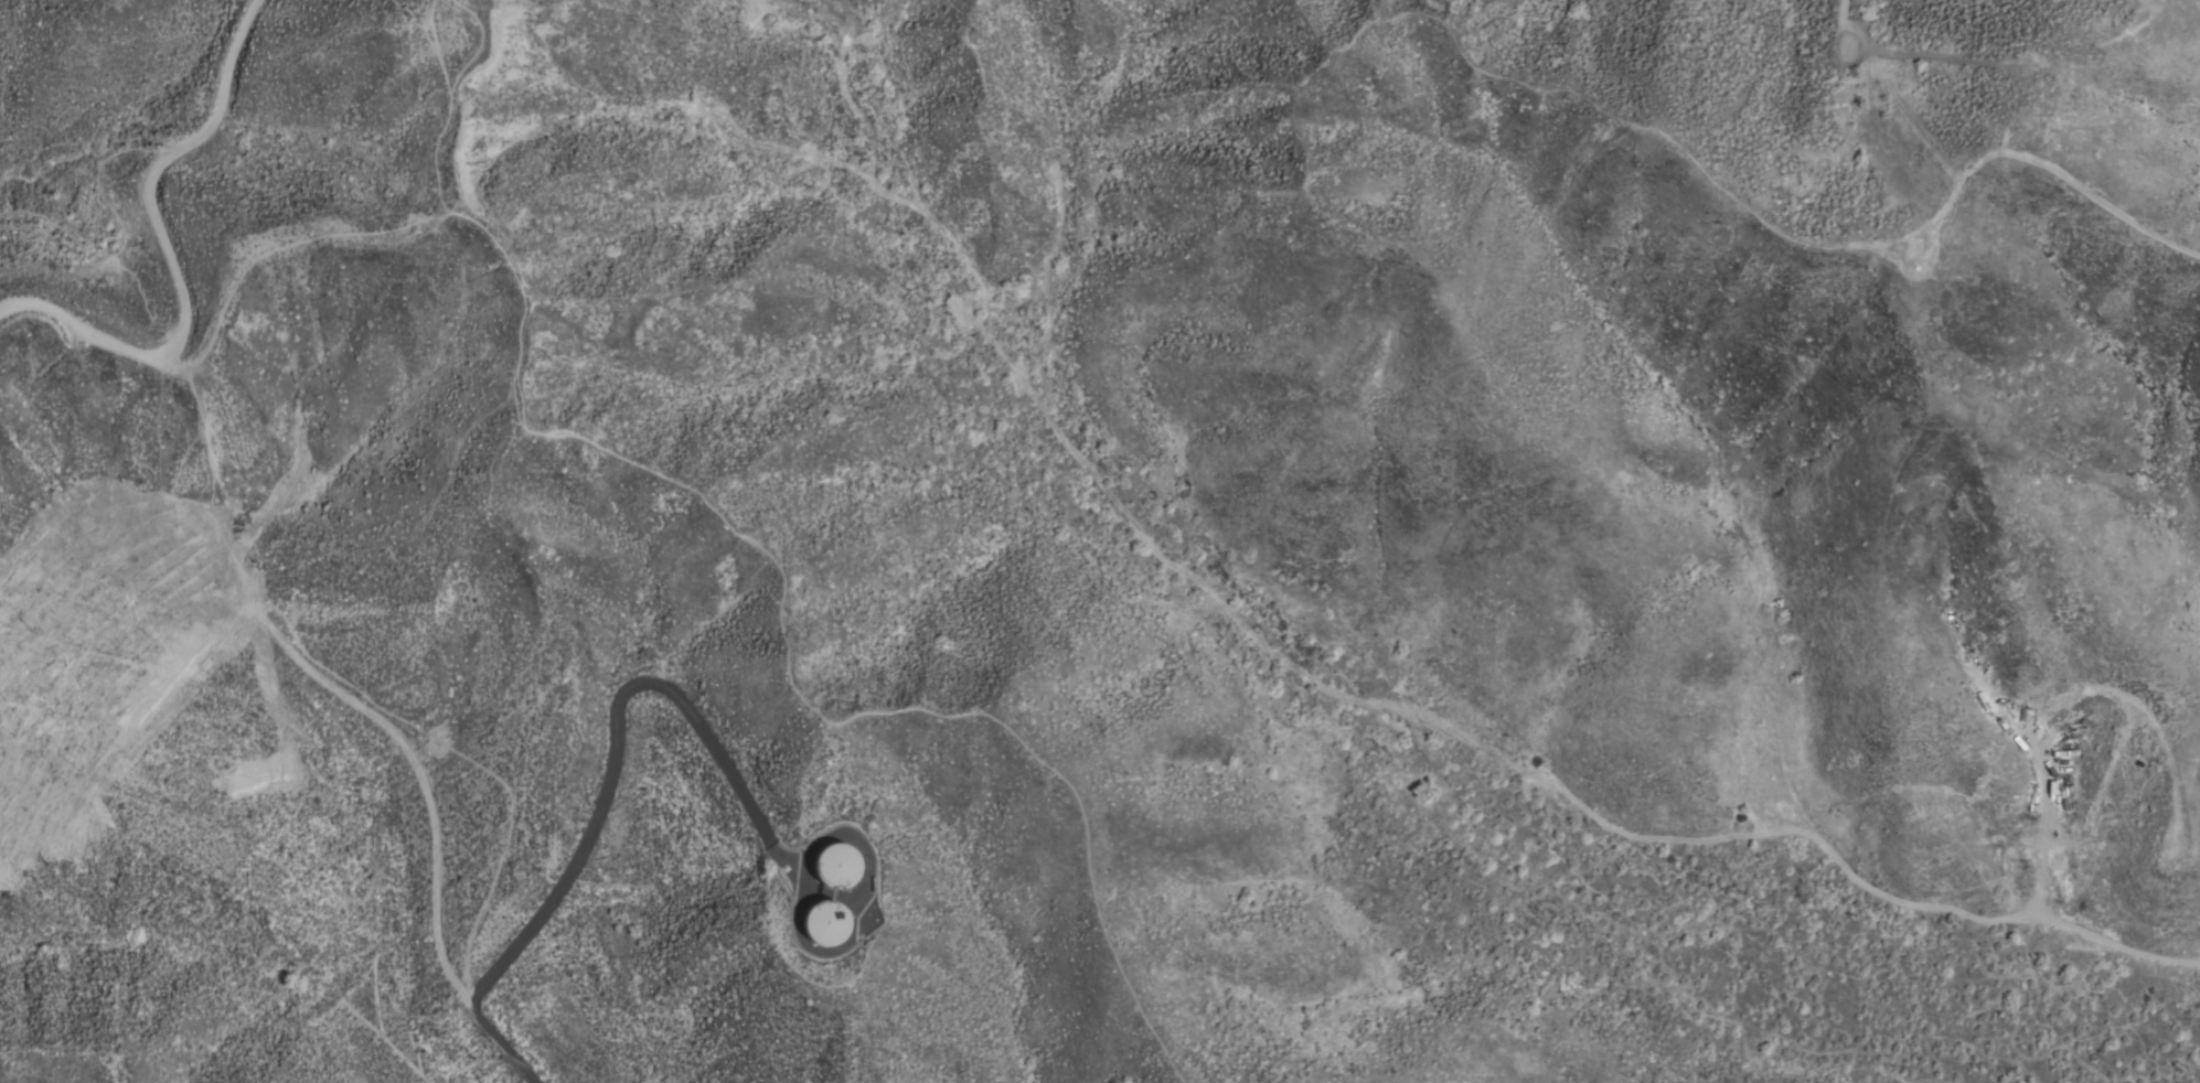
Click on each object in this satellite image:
road: (119, 232)
road: (164, 247)
road: (265, 256)
road: (770, 566)
road: (705, 618)
road: (341, 679)
road: (611, 778)
road: (798, 789)
building: (835, 867)
road: (2041, 907)
building: (824, 925)
road: (854, 936)

